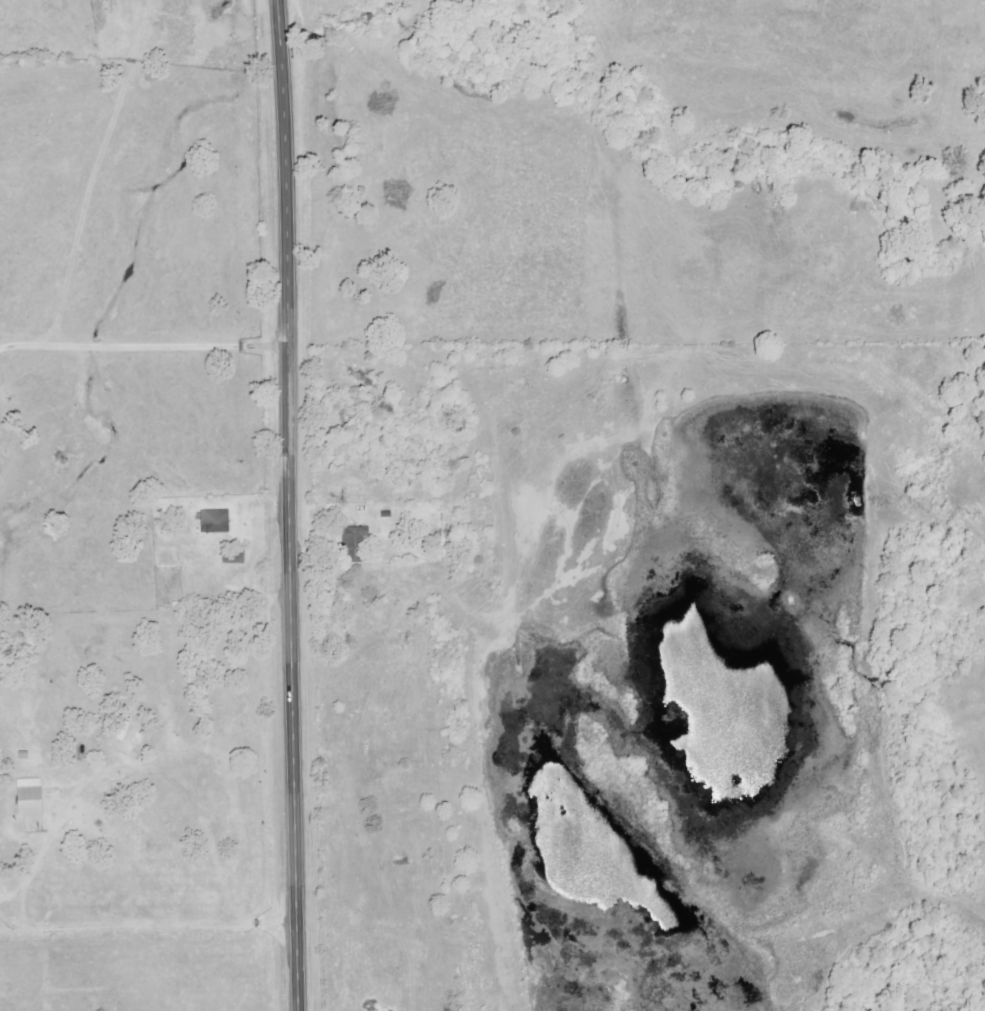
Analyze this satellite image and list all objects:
road: (289, 505)
building: (213, 521)
building: (354, 537)
building: (28, 797)

